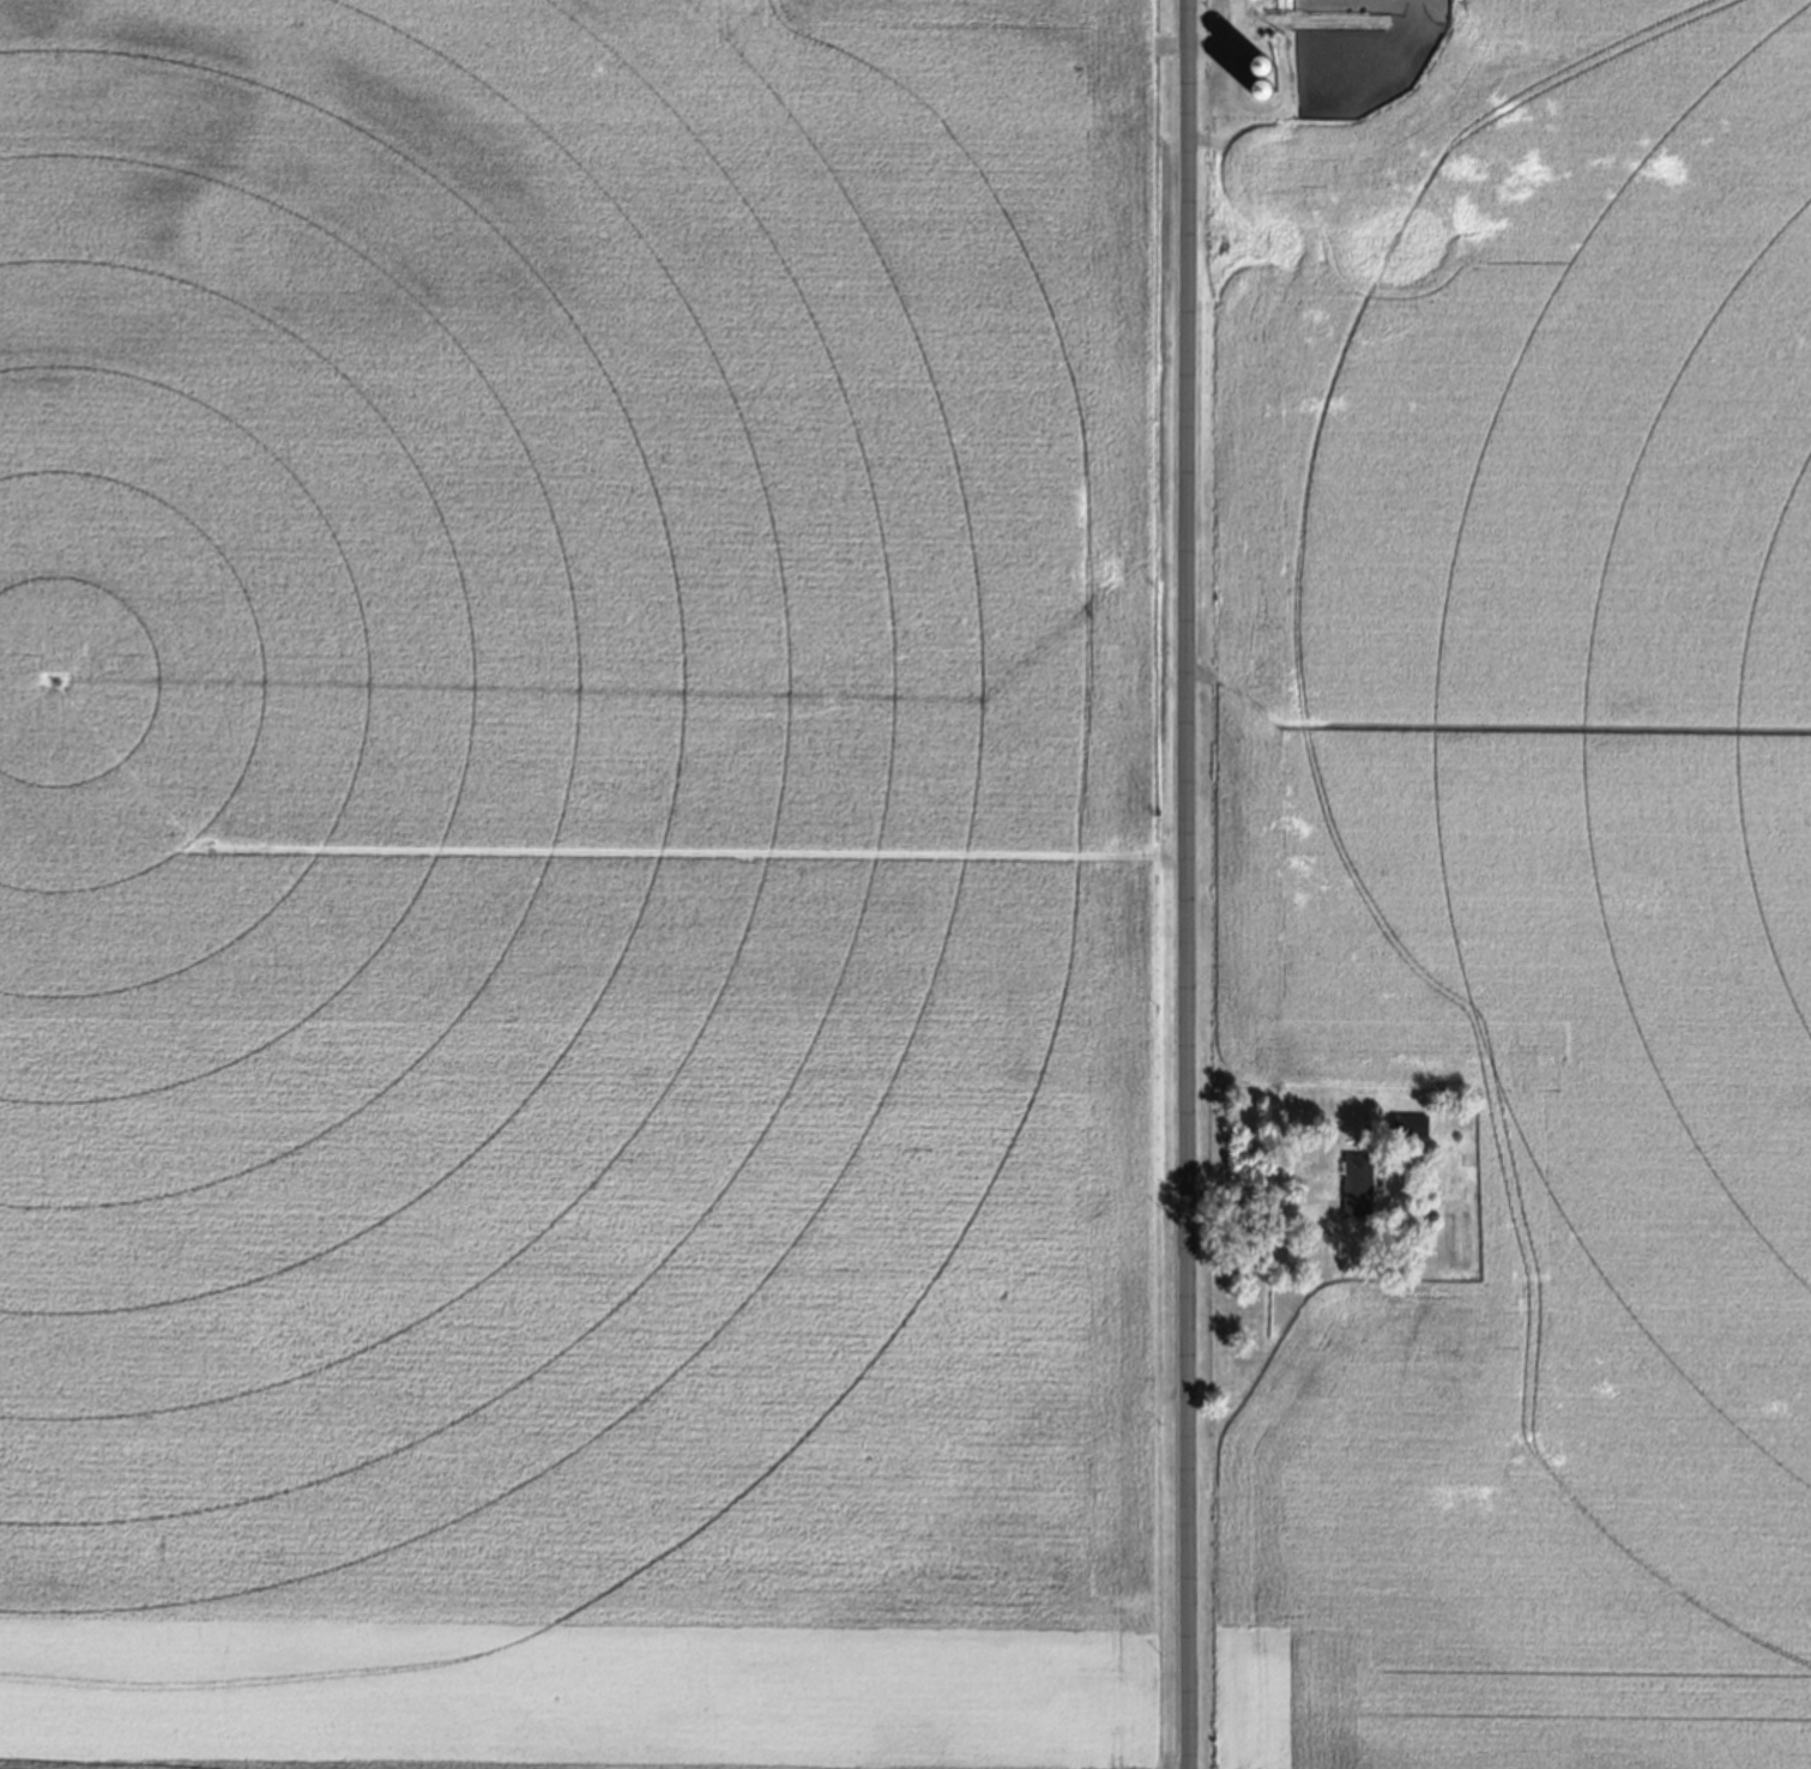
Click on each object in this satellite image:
road: (1187, 884)
building: (1411, 1123)
building: (1359, 1183)

